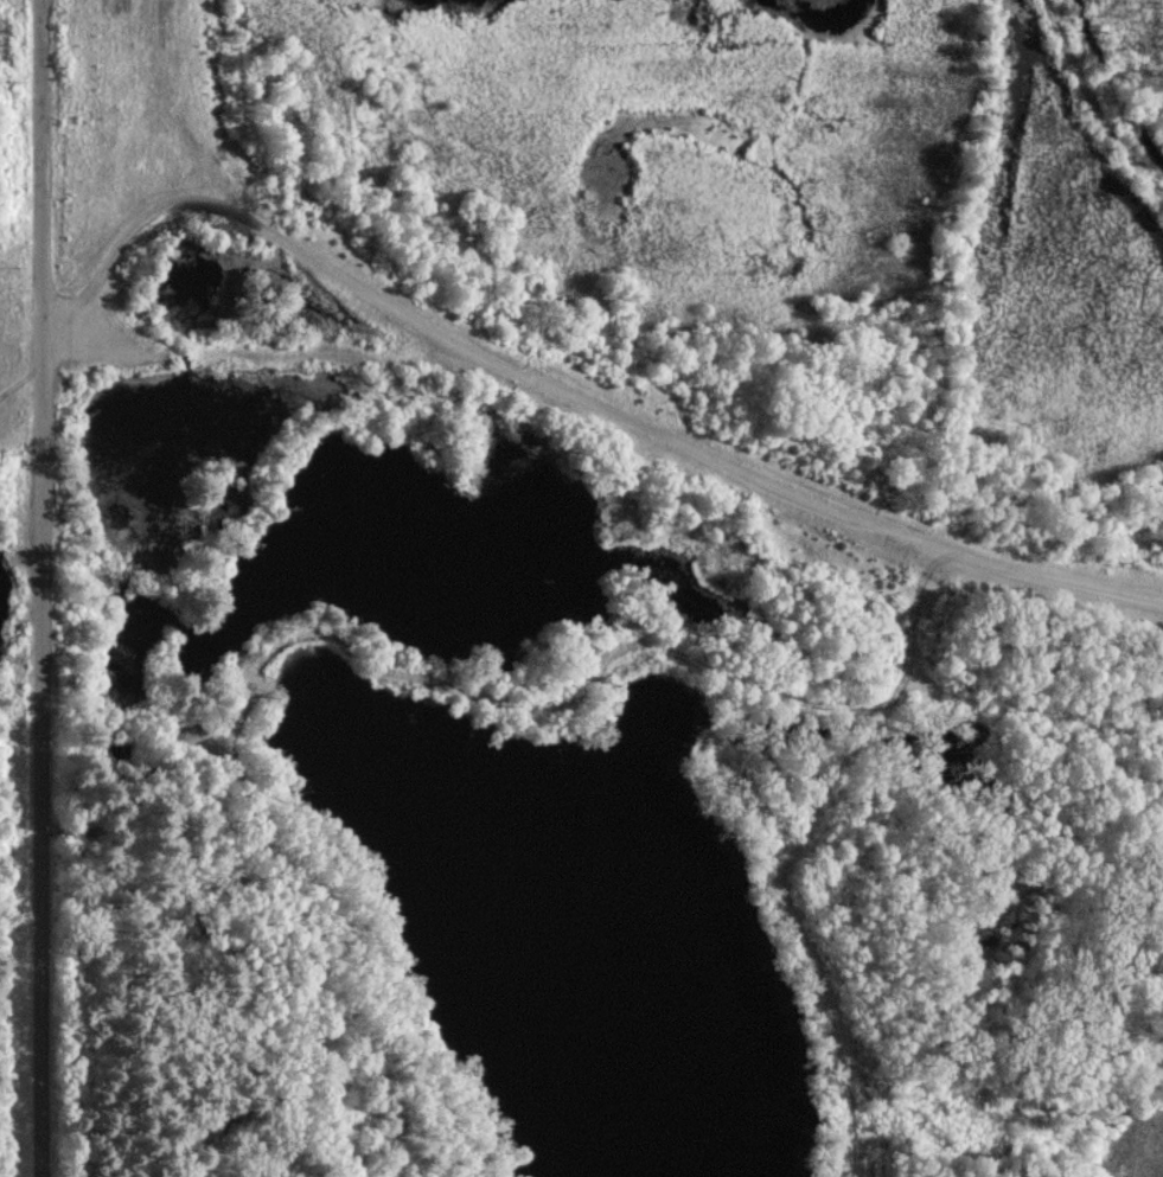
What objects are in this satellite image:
road: (574, 395)
road: (44, 588)

